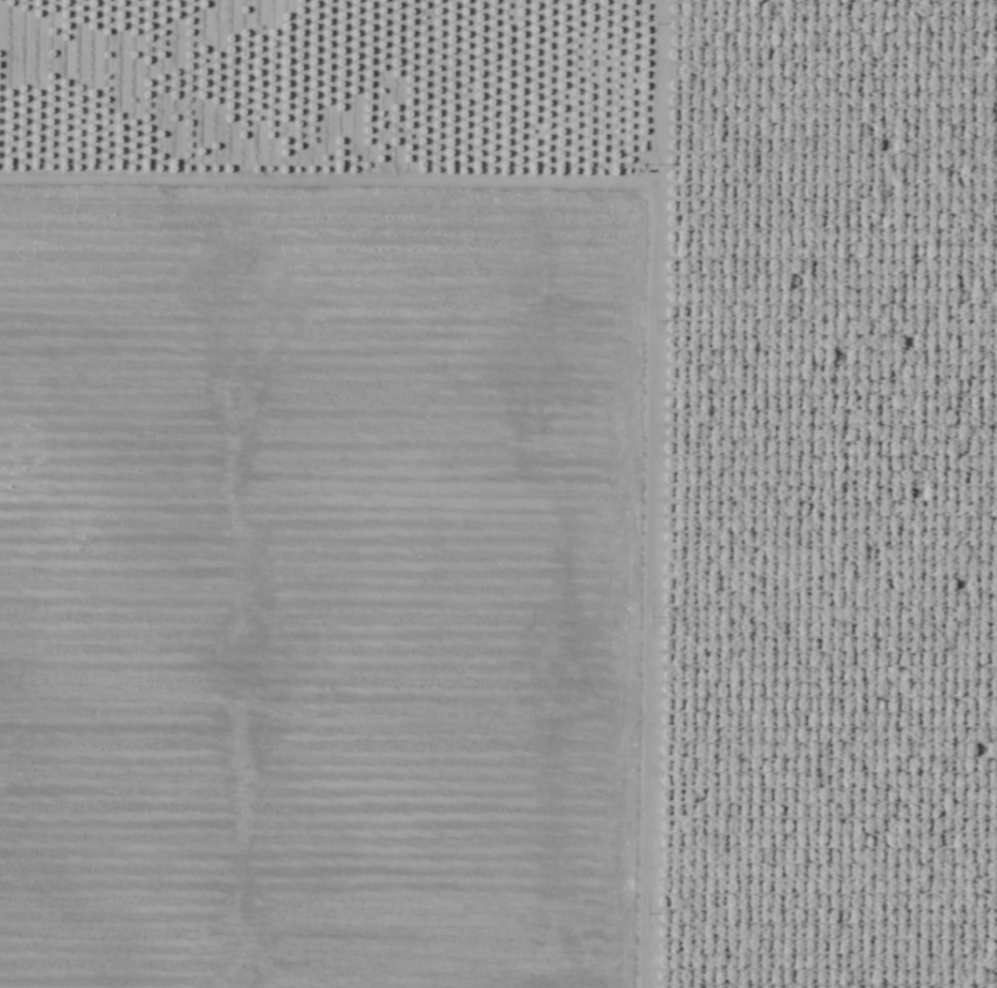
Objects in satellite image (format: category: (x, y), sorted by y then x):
crop: (498, 494)
road: (646, 494)

